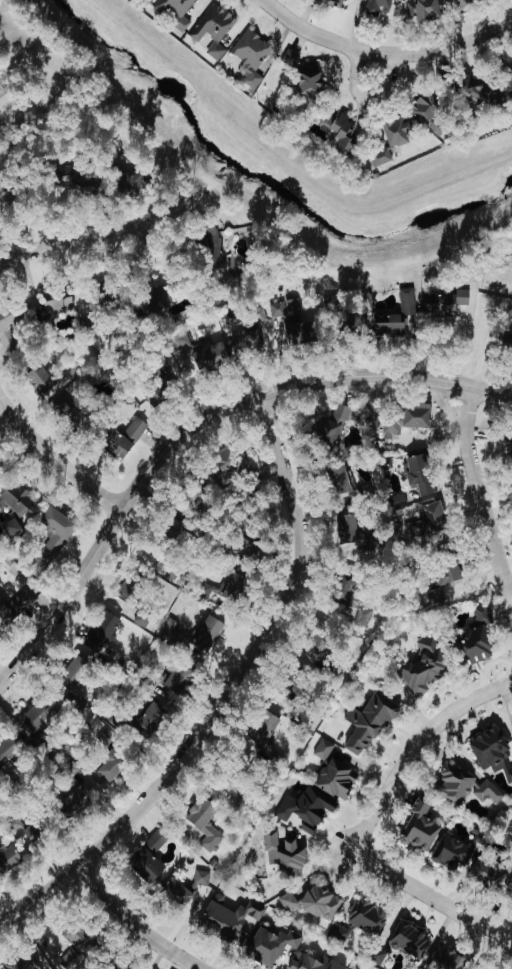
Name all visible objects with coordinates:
building: (337, 3)
building: (380, 7)
building: (430, 9)
building: (177, 11)
building: (215, 30)
road: (323, 37)
road: (453, 47)
building: (253, 57)
building: (292, 59)
building: (312, 78)
building: (489, 93)
road: (368, 98)
building: (431, 114)
building: (342, 131)
building: (400, 132)
building: (382, 158)
building: (138, 186)
road: (179, 212)
road: (63, 243)
building: (218, 252)
building: (163, 300)
building: (445, 303)
building: (32, 315)
building: (398, 315)
building: (298, 322)
building: (356, 322)
road: (468, 336)
building: (183, 340)
building: (251, 341)
building: (214, 358)
building: (43, 381)
building: (73, 411)
building: (409, 420)
road: (194, 421)
building: (333, 426)
building: (137, 429)
building: (122, 446)
road: (54, 459)
building: (232, 465)
building: (422, 474)
building: (342, 480)
building: (363, 494)
building: (19, 499)
road: (479, 499)
road: (325, 506)
building: (436, 518)
building: (15, 529)
building: (351, 530)
building: (58, 533)
building: (454, 574)
building: (133, 589)
building: (348, 589)
building: (229, 590)
building: (436, 597)
building: (16, 607)
building: (364, 617)
building: (145, 618)
building: (105, 630)
building: (212, 634)
building: (177, 635)
building: (480, 639)
building: (426, 667)
building: (76, 674)
building: (182, 678)
road: (225, 694)
building: (83, 704)
building: (44, 717)
building: (153, 721)
building: (372, 724)
building: (268, 729)
building: (107, 738)
building: (325, 749)
road: (414, 749)
building: (494, 751)
building: (9, 752)
building: (113, 767)
building: (72, 768)
building: (338, 779)
building: (469, 786)
building: (80, 800)
building: (309, 810)
building: (207, 823)
building: (423, 828)
building: (20, 829)
building: (36, 832)
building: (481, 836)
building: (159, 840)
building: (453, 854)
building: (287, 855)
building: (11, 859)
building: (149, 865)
building: (492, 875)
building: (180, 892)
road: (430, 897)
building: (323, 902)
building: (370, 916)
building: (232, 919)
road: (134, 924)
building: (340, 933)
building: (412, 940)
building: (80, 945)
building: (273, 945)
building: (449, 960)
building: (25, 962)
building: (316, 962)
building: (484, 968)

